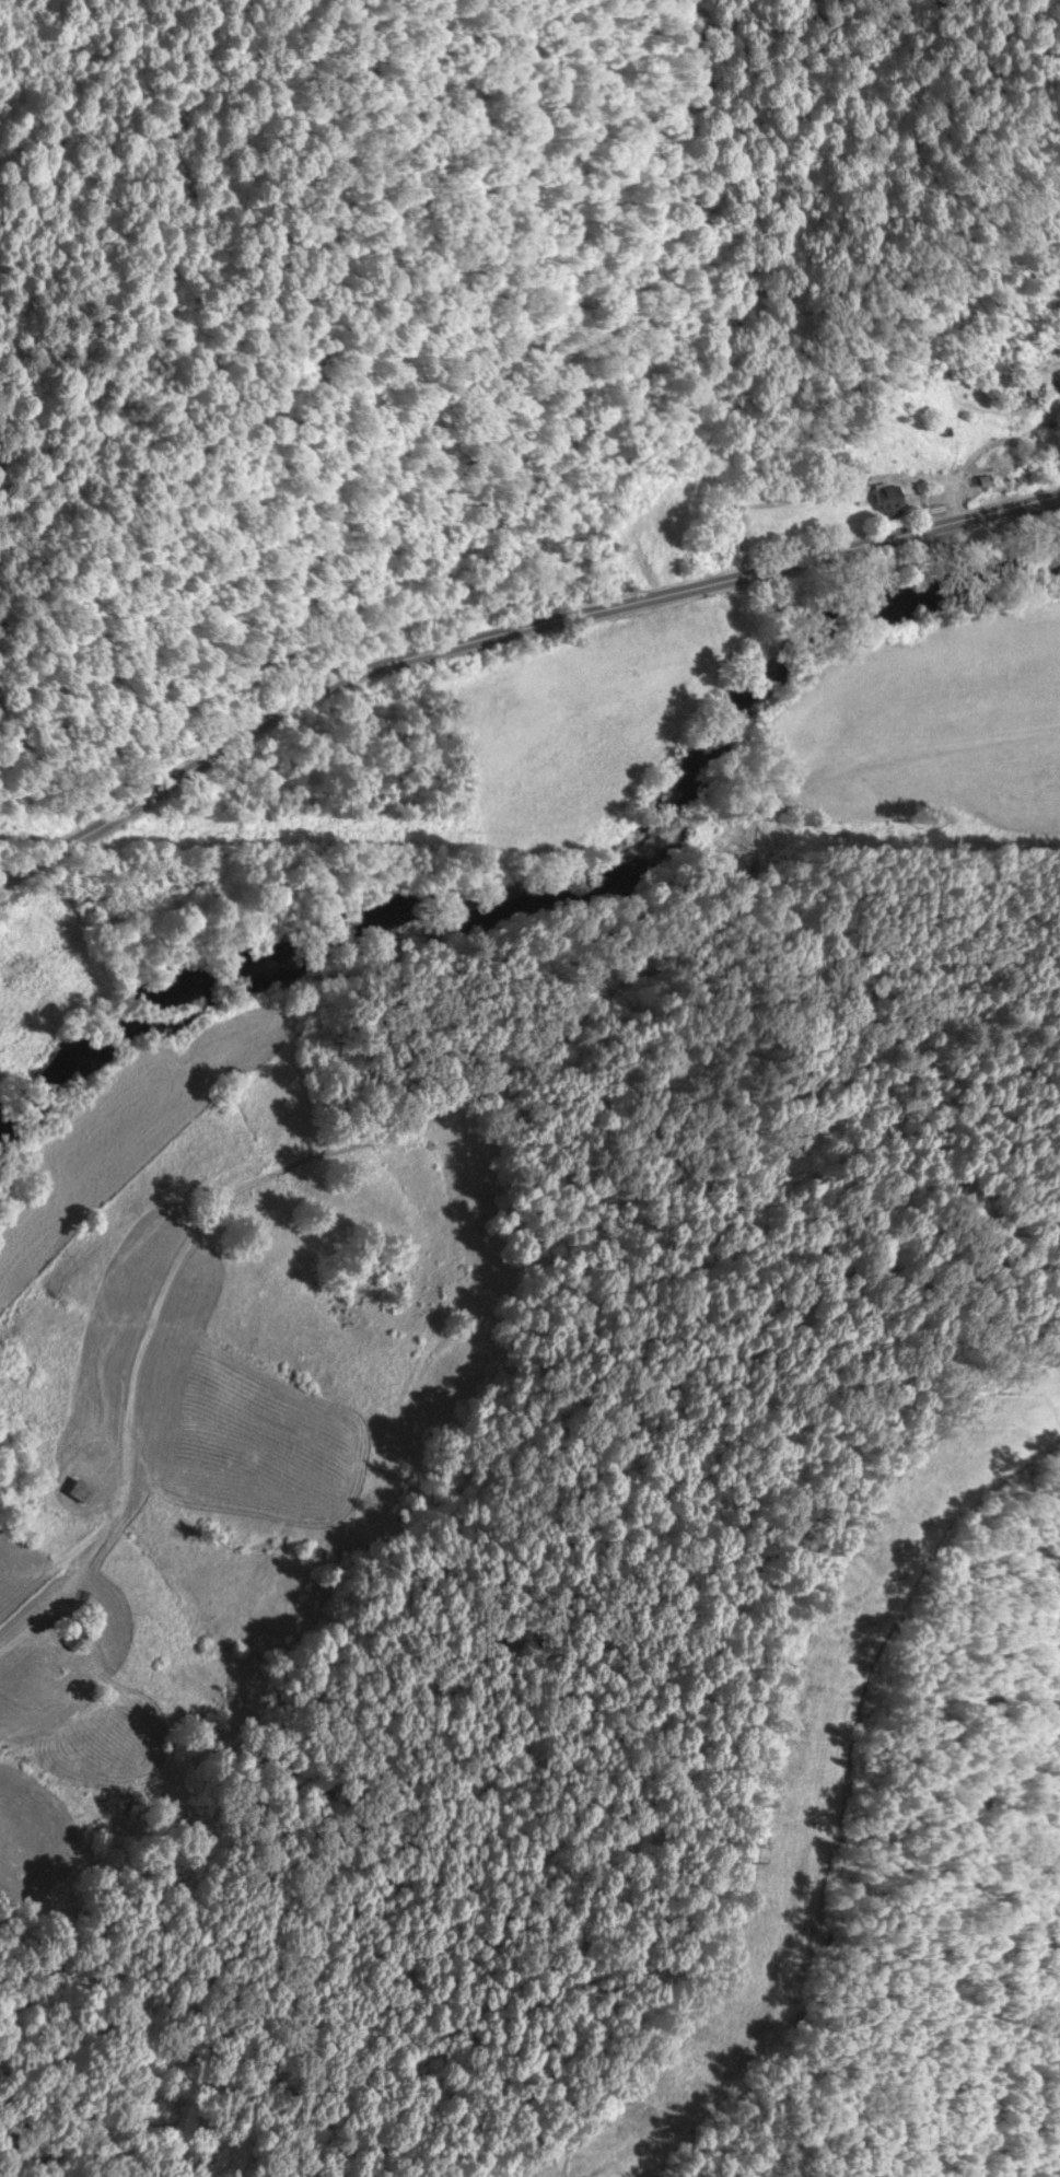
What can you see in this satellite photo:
building: (1028, 399)
building: (896, 498)
road: (506, 631)
river: (558, 886)
building: (88, 1490)
building: (77, 1640)

